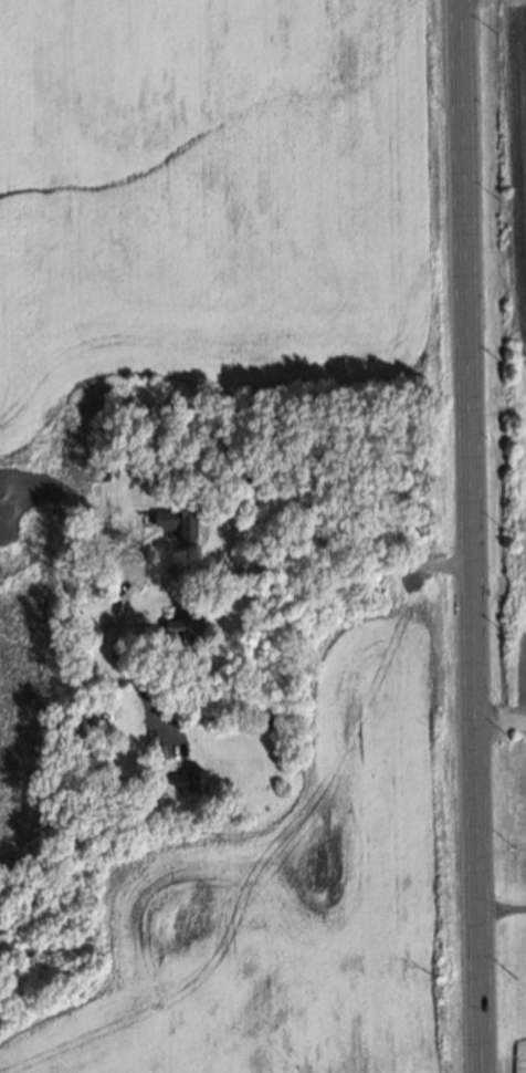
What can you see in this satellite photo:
building: (70, 446)
building: (97, 471)
building: (179, 517)
road: (472, 536)
building: (43, 565)
road: (211, 576)
building: (86, 586)
building: (185, 632)
road: (501, 728)
building: (188, 779)
road: (502, 907)

